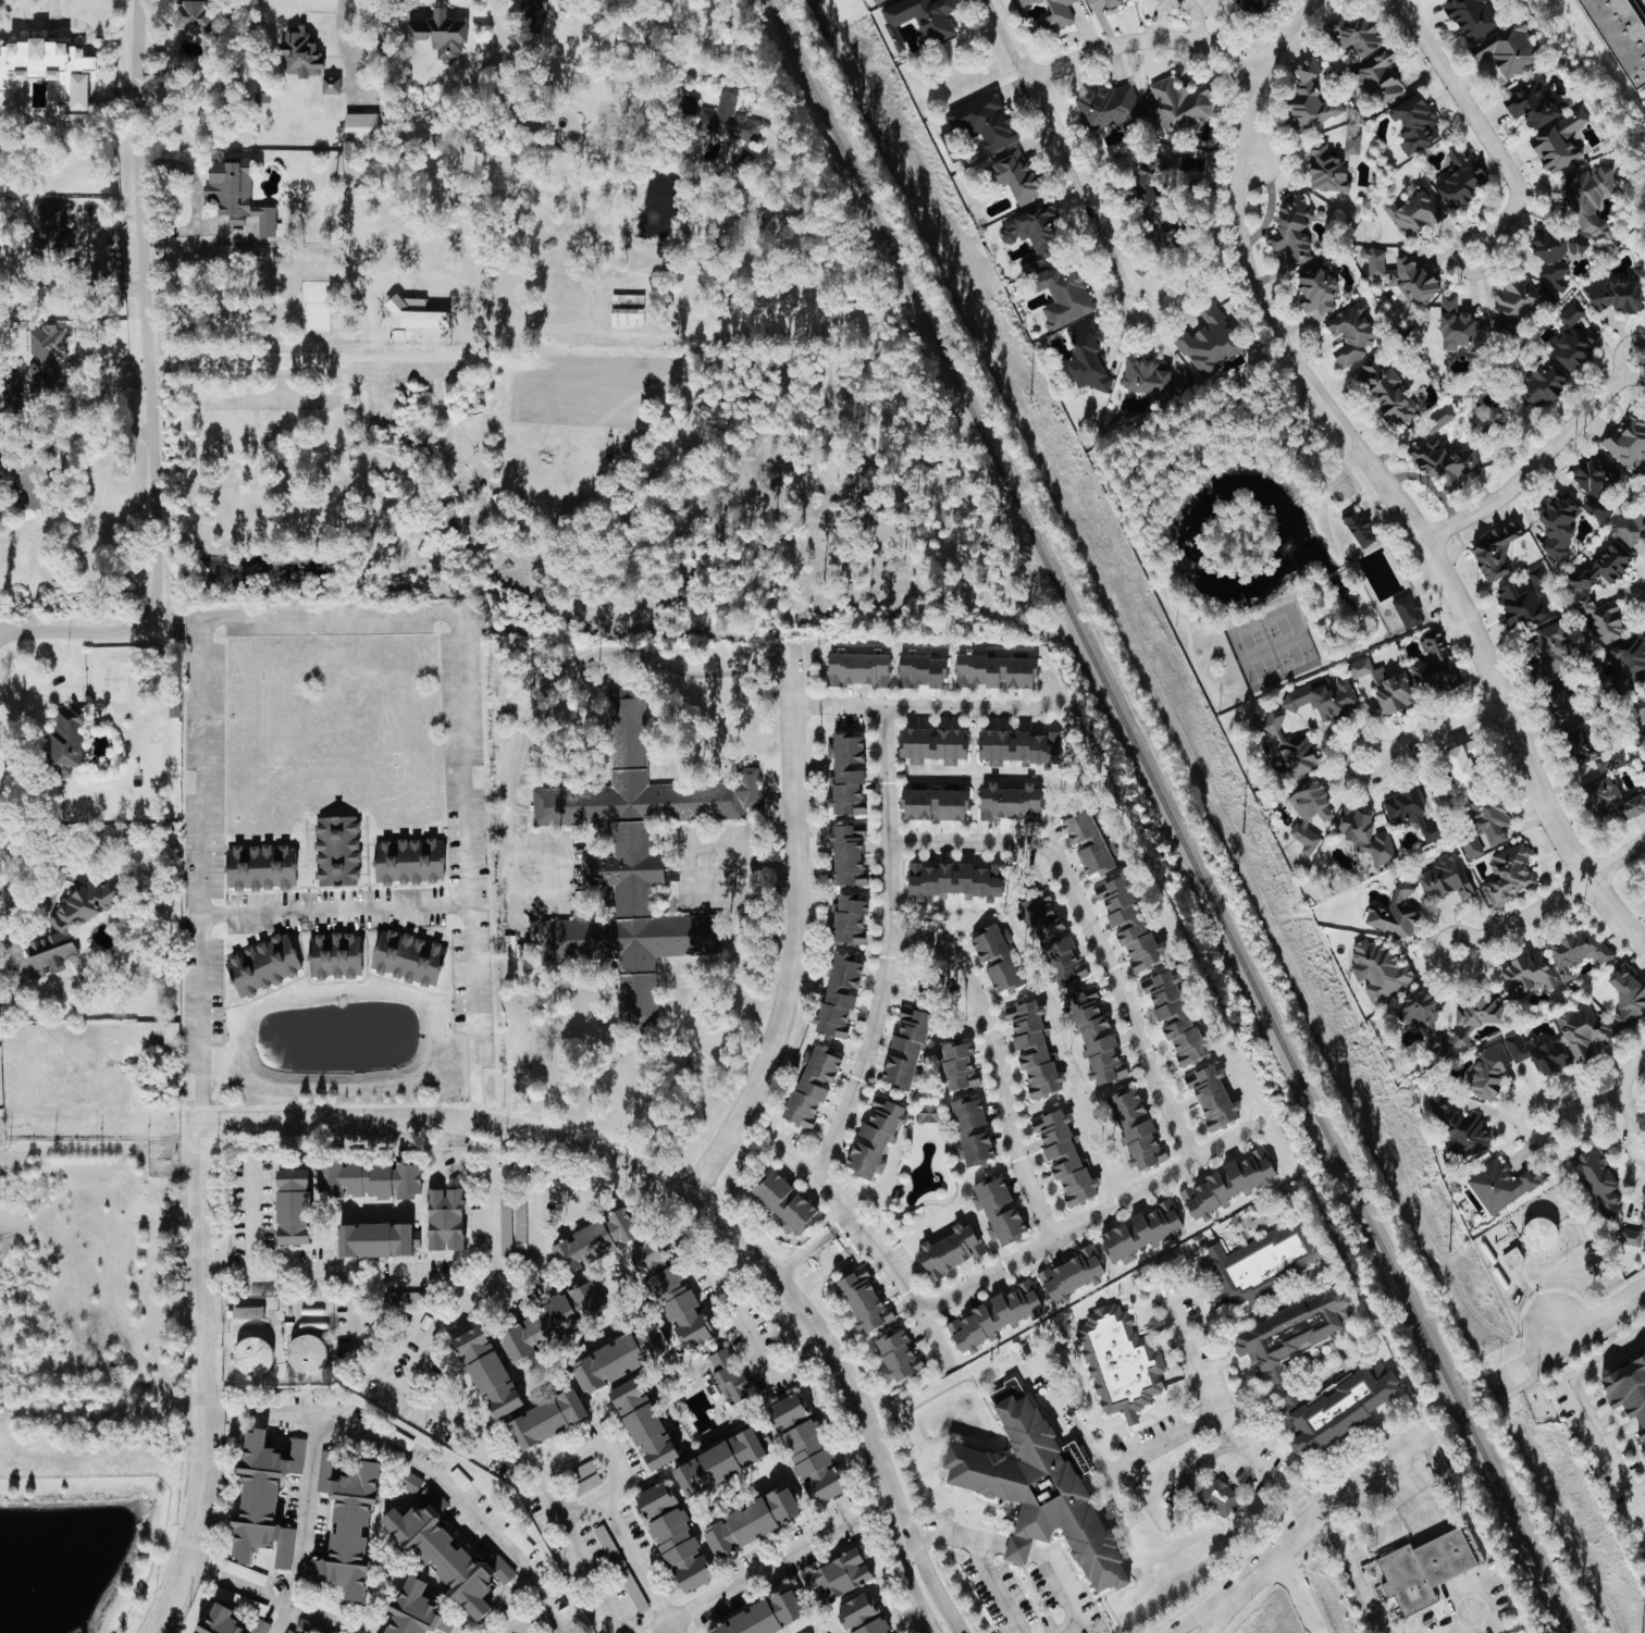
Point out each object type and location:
building: (876, 1)
building: (1090, 1)
building: (1026, 2)
building: (1112, 3)
building: (1253, 4)
parking lot: (1641, 5)
building: (533, 12)
building: (195, 16)
building: (1470, 16)
building: (1053, 17)
building: (919, 20)
road: (1177, 30)
building: (440, 35)
building: (1357, 36)
building: (1622, 36)
road: (1145, 40)
building: (1507, 49)
building: (300, 52)
road: (355, 54)
building: (48, 70)
road: (698, 74)
building: (1378, 77)
building: (330, 86)
building: (1311, 98)
building: (1533, 104)
building: (1179, 106)
building: (1109, 108)
building: (728, 121)
building: (984, 121)
building: (1415, 123)
building: (360, 126)
road: (1482, 128)
building: (1559, 141)
building: (948, 144)
building: (1352, 144)
road: (1065, 151)
road: (1250, 156)
building: (1327, 171)
building: (1018, 176)
building: (1460, 178)
building: (236, 195)
building: (1586, 200)
building: (1413, 214)
building: (49, 228)
building: (1291, 230)
building: (1034, 234)
building: (1556, 253)
building: (1401, 276)
building: (1318, 289)
building: (1616, 293)
building: (1064, 297)
building: (1517, 304)
building: (627, 312)
building: (418, 318)
building: (1459, 327)
building: (1352, 333)
building: (1574, 341)
building: (1210, 343)
building: (1086, 356)
road: (304, 357)
building: (37, 370)
building: (1154, 379)
building: (1546, 383)
road: (149, 384)
building: (1387, 391)
power tower: (1029, 403)
building: (1442, 416)
road: (88, 433)
building: (1628, 443)
road: (1539, 459)
building: (1444, 462)
road: (1382, 477)
building: (1597, 485)
building: (1559, 525)
building: (1358, 528)
building: (1629, 530)
park: (1260, 540)
building: (1496, 550)
building: (1604, 568)
building: (1522, 603)
building: (1407, 611)
road: (329, 617)
building: (1601, 621)
park: (1264, 627)
building: (1550, 652)
park: (1275, 655)
building: (1433, 664)
building: (1625, 668)
building: (858, 669)
building: (922, 671)
building: (997, 672)
road: (551, 681)
building: (1383, 689)
building: (1323, 698)
road: (931, 707)
building: (1640, 713)
road: (1433, 729)
building: (66, 742)
building: (933, 746)
building: (1021, 747)
building: (1291, 750)
building: (1599, 762)
building: (1462, 767)
building: (848, 774)
building: (1611, 801)
building: (1011, 803)
building: (935, 805)
building: (1309, 813)
building: (1412, 815)
railway: (1171, 816)
road: (4, 827)
power tower: (1242, 836)
building: (1365, 837)
building: (1089, 844)
road: (717, 850)
building: (336, 852)
building: (848, 856)
building: (409, 862)
building: (634, 862)
building: (260, 868)
road: (567, 871)
building: (1509, 875)
road: (738, 876)
building: (1446, 880)
building: (953, 881)
road: (49, 895)
road: (1554, 899)
road: (334, 906)
building: (1395, 915)
building: (849, 920)
building: (1128, 923)
building: (69, 927)
road: (1090, 927)
road: (799, 931)
building: (1053, 940)
road: (887, 945)
building: (1575, 952)
building: (335, 957)
building: (408, 958)
building: (997, 960)
building: (263, 966)
building: (1381, 970)
building: (1527, 976)
building: (840, 995)
building: (1628, 995)
building: (1422, 1010)
building: (1175, 1018)
building: (1474, 1018)
building: (1584, 1034)
building: (170, 1035)
building: (1096, 1038)
building: (1438, 1043)
building: (906, 1048)
building: (1034, 1050)
building: (1538, 1054)
road: (998, 1061)
building: (960, 1066)
building: (1488, 1074)
building: (812, 1086)
road: (1596, 1092)
building: (1213, 1098)
road: (1629, 1108)
building: (928, 1113)
road: (1, 1128)
building: (1137, 1130)
building: (972, 1131)
building: (1460, 1133)
building: (875, 1138)
building: (1064, 1155)
road: (463, 1158)
building: (369, 1178)
road: (652, 1178)
building: (1598, 1182)
building: (1228, 1184)
building: (1501, 1185)
road: (202, 1196)
building: (786, 1202)
building: (1643, 1203)
building: (293, 1205)
building: (999, 1210)
road: (251, 1215)
building: (445, 1218)
road: (1086, 1220)
building: (505, 1225)
road: (832, 1229)
building: (1141, 1233)
building: (1539, 1235)
building: (375, 1238)
building: (595, 1239)
road: (873, 1247)
road: (850, 1251)
building: (950, 1251)
road: (825, 1253)
power tower: (1448, 1254)
road: (795, 1258)
building: (1512, 1259)
building: (1258, 1264)
road: (400, 1275)
building: (1071, 1275)
road: (813, 1278)
road: (540, 1286)
road: (486, 1289)
building: (671, 1294)
building: (586, 1298)
building: (863, 1300)
building: (247, 1312)
building: (994, 1316)
road: (1558, 1327)
building: (539, 1328)
building: (1292, 1332)
road: (1571, 1336)
road: (757, 1337)
building: (307, 1353)
building: (898, 1354)
building: (252, 1356)
building: (620, 1357)
building: (1118, 1362)
building: (487, 1371)
building: (728, 1375)
building: (1629, 1388)
building: (1337, 1408)
road: (1587, 1412)
building: (548, 1419)
road: (1217, 1421)
building: (644, 1422)
road: (493, 1439)
road: (1152, 1445)
building: (806, 1448)
road: (203, 1453)
road: (404, 1456)
road: (626, 1459)
building: (719, 1462)
building: (410, 1483)
building: (1041, 1489)
building: (1221, 1498)
building: (264, 1499)
road: (1409, 1501)
road: (1320, 1516)
building: (752, 1521)
road: (302, 1522)
building: (347, 1524)
road: (943, 1532)
building: (673, 1537)
building: (448, 1552)
road: (646, 1563)
road: (776, 1563)
building: (1425, 1569)
road: (1050, 1570)
road: (1352, 1572)
building: (838, 1576)
road: (908, 1582)
road: (935, 1586)
road: (994, 1589)
road: (1295, 1594)
building: (335, 1609)
building: (417, 1610)
helipad: (1469, 1613)
building: (765, 1615)
building: (861, 1616)
road: (536, 1618)
road: (1196, 1618)
road: (1213, 1619)
building: (220, 1621)
road: (925, 1625)
building: (260, 1626)
road: (1452, 1631)

